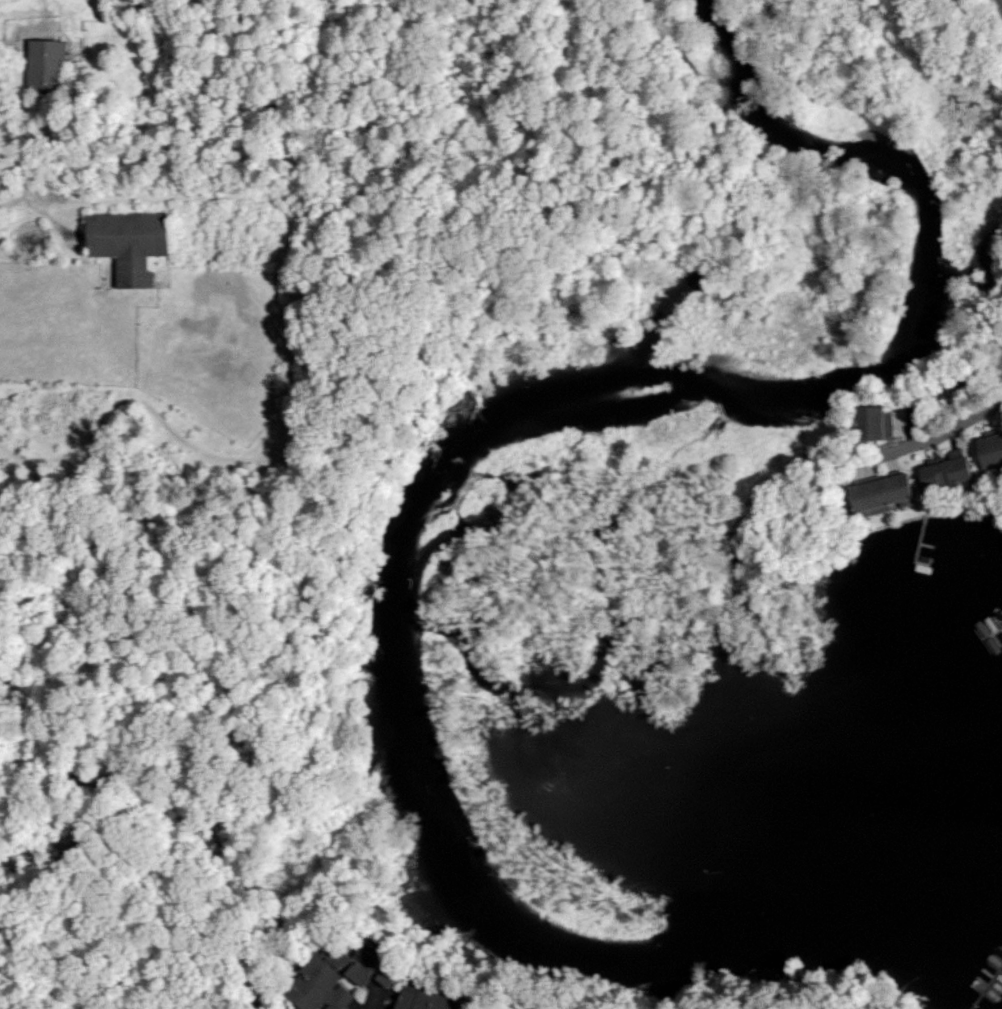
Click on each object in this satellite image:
road: (1001, 2)
building: (47, 65)
road: (10, 202)
building: (133, 244)
road: (941, 390)
building: (878, 423)
road: (936, 438)
building: (993, 451)
building: (951, 471)
building: (888, 493)
building: (339, 978)
road: (373, 1000)
building: (426, 1000)

